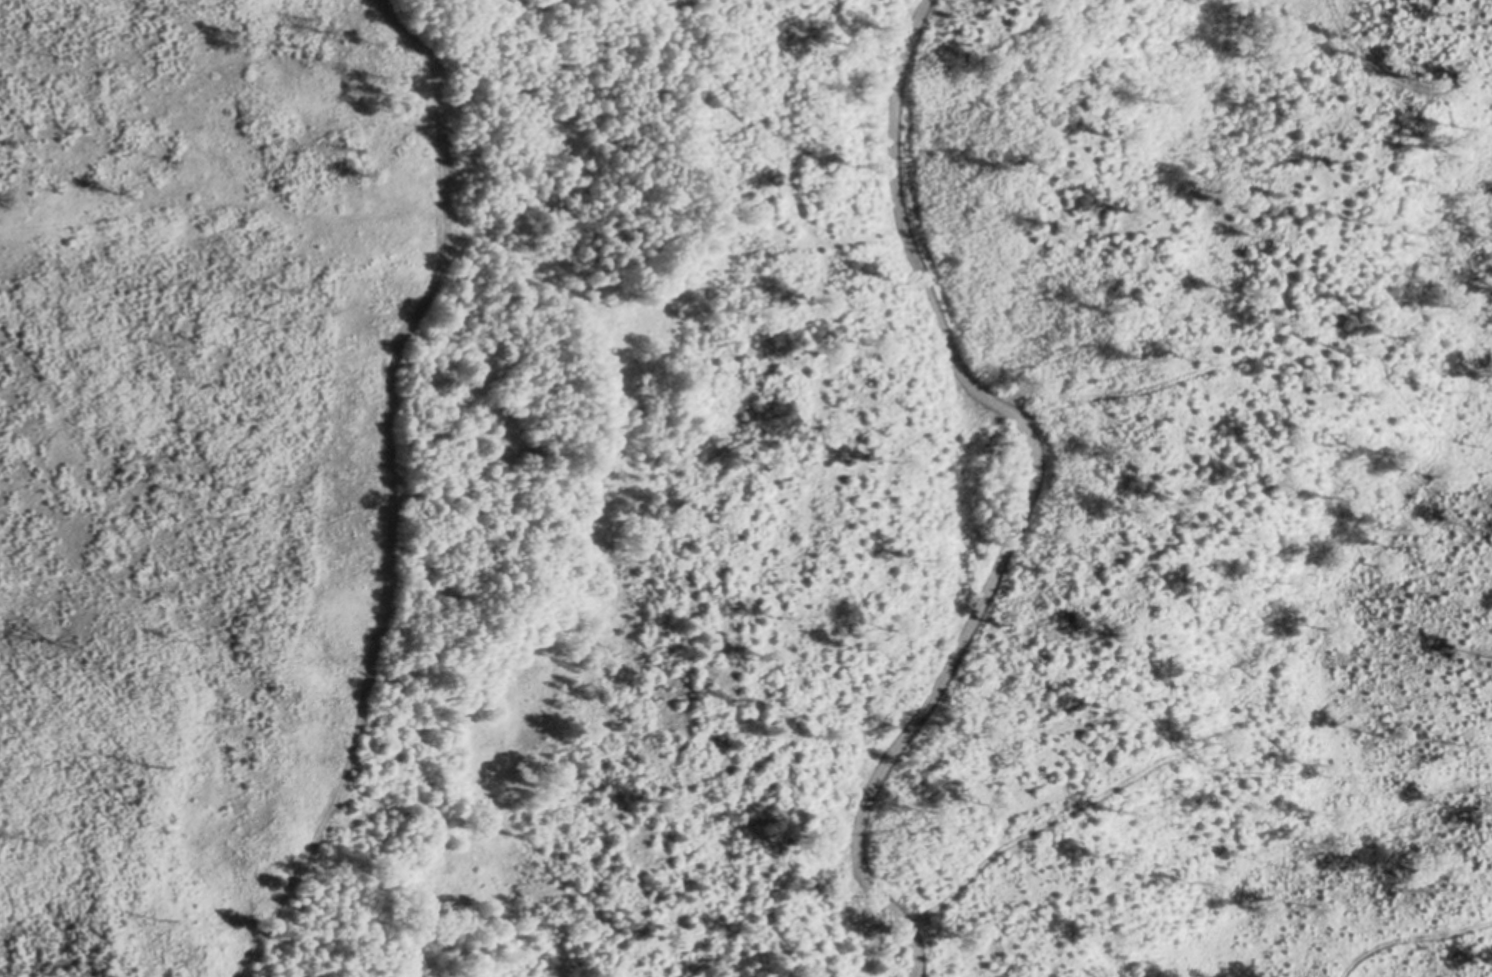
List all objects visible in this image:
road: (386, 489)
road: (1028, 491)

